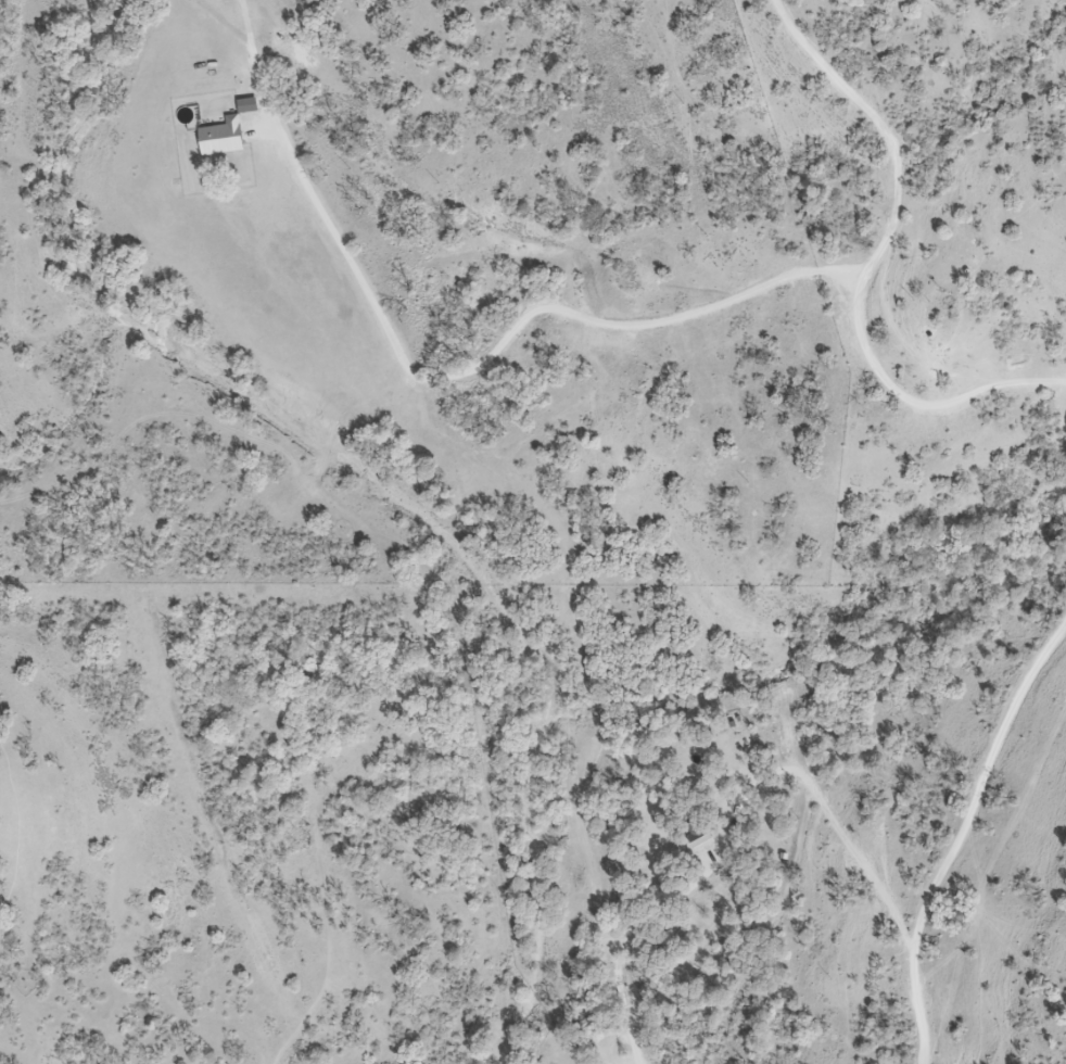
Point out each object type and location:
building: (219, 136)
road: (870, 267)
road: (1063, 625)
road: (373, 793)
road: (733, 813)
road: (15, 832)
building: (696, 834)
road: (956, 840)
road: (554, 1018)
road: (629, 1022)

